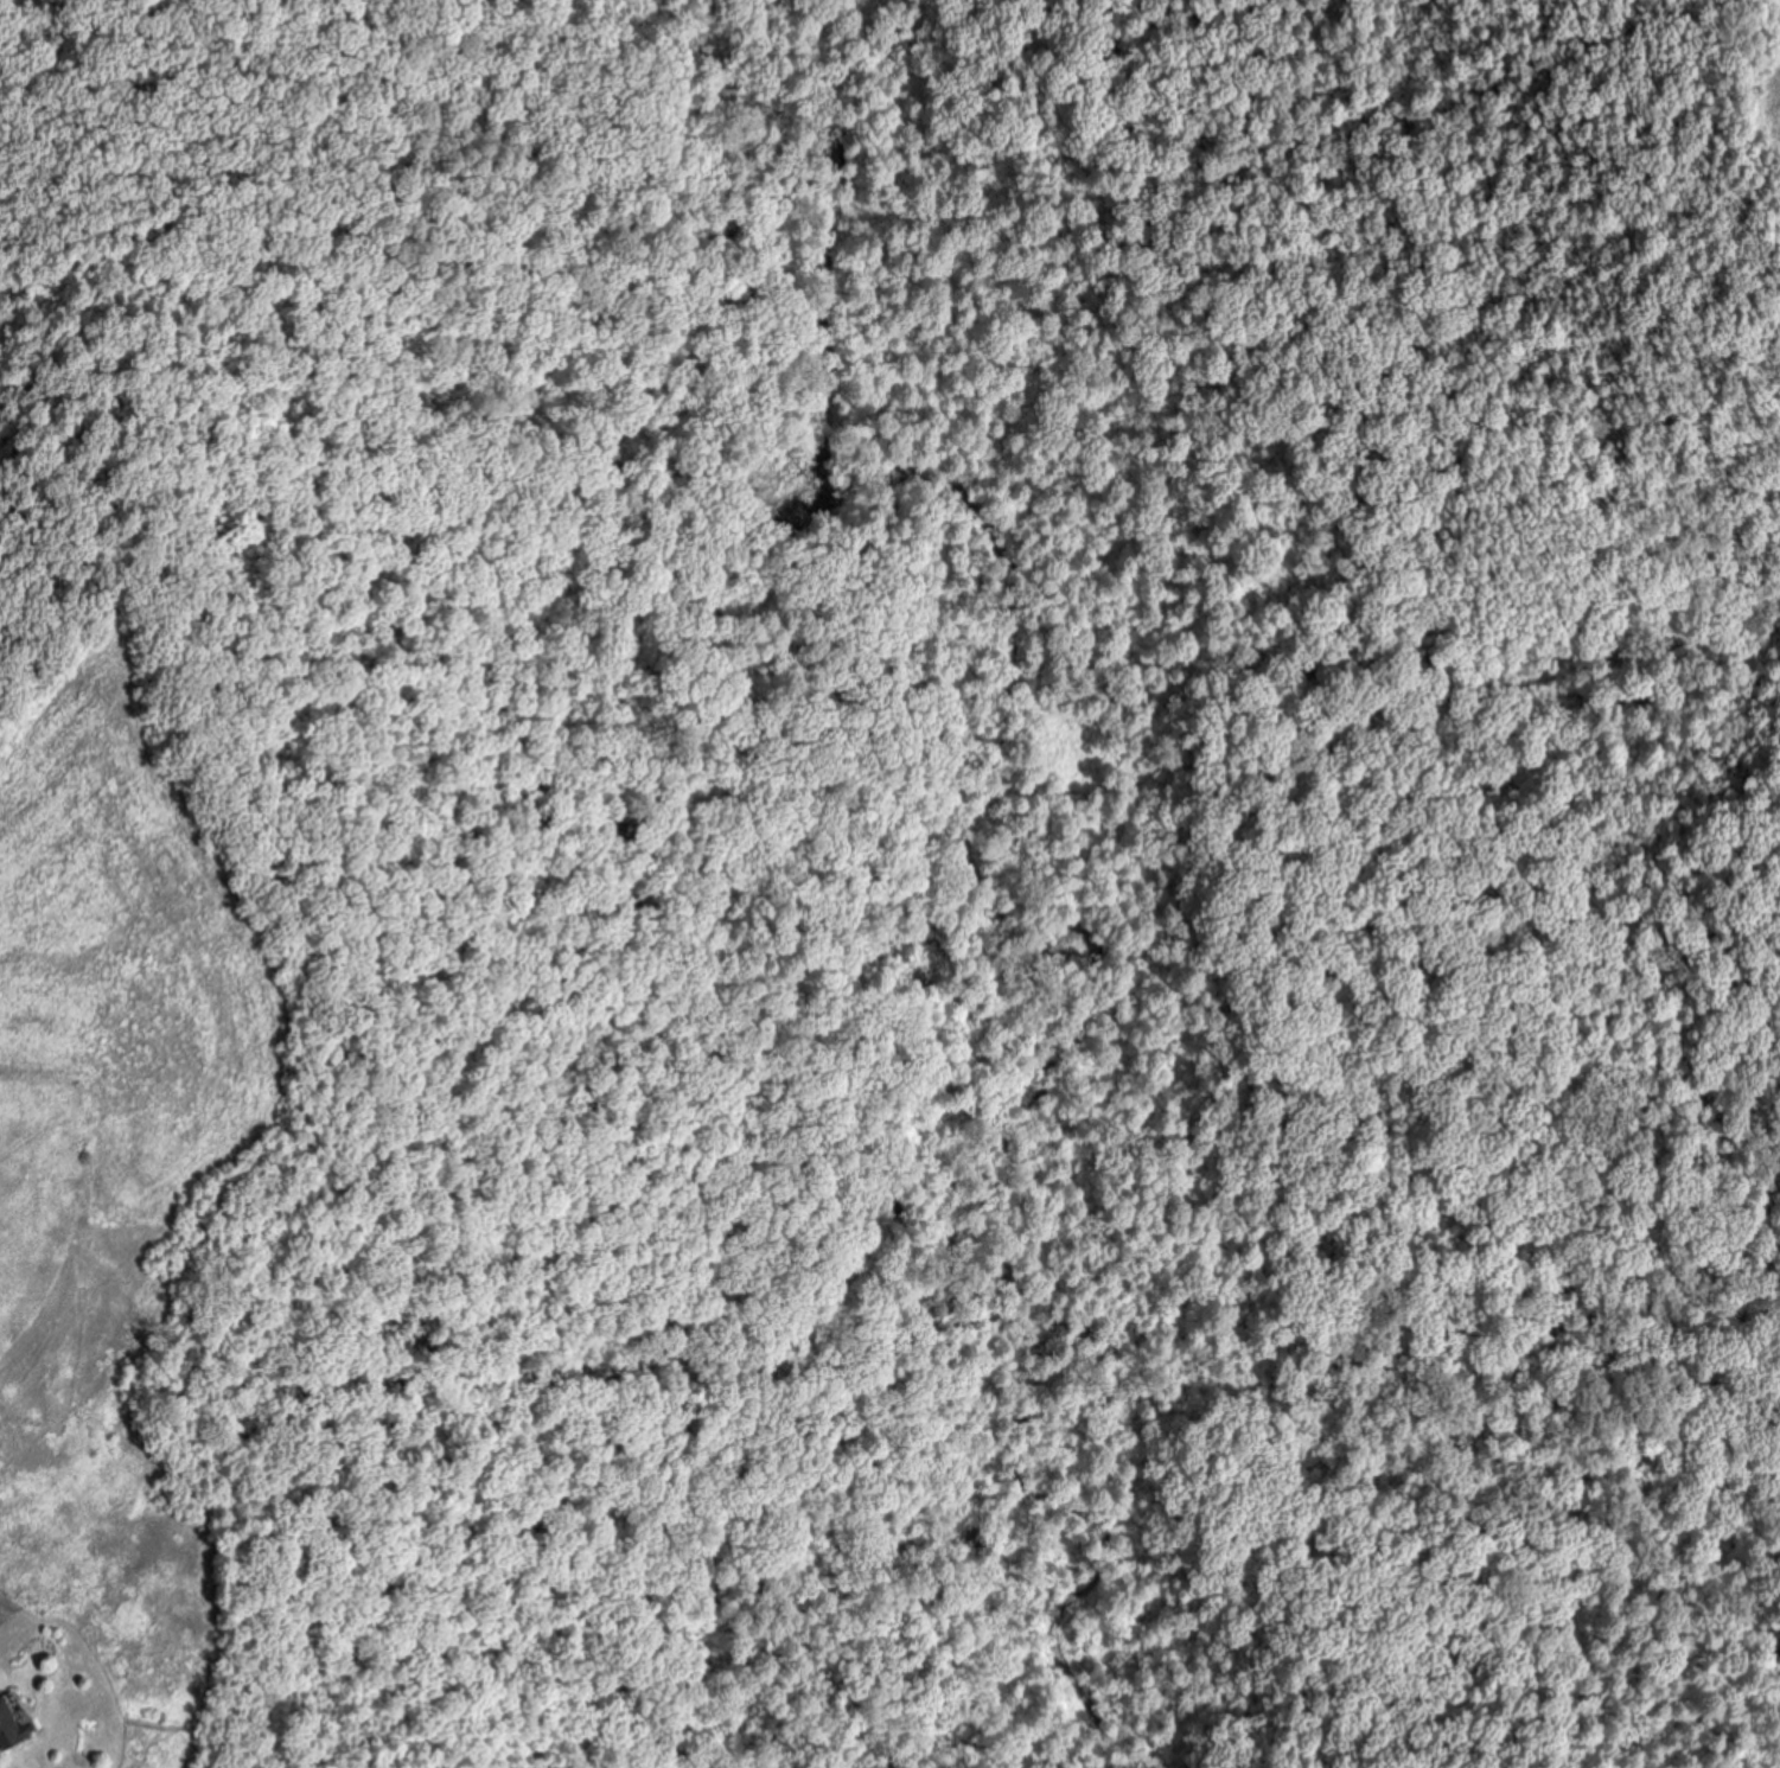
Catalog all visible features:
building: (13, 1728)

